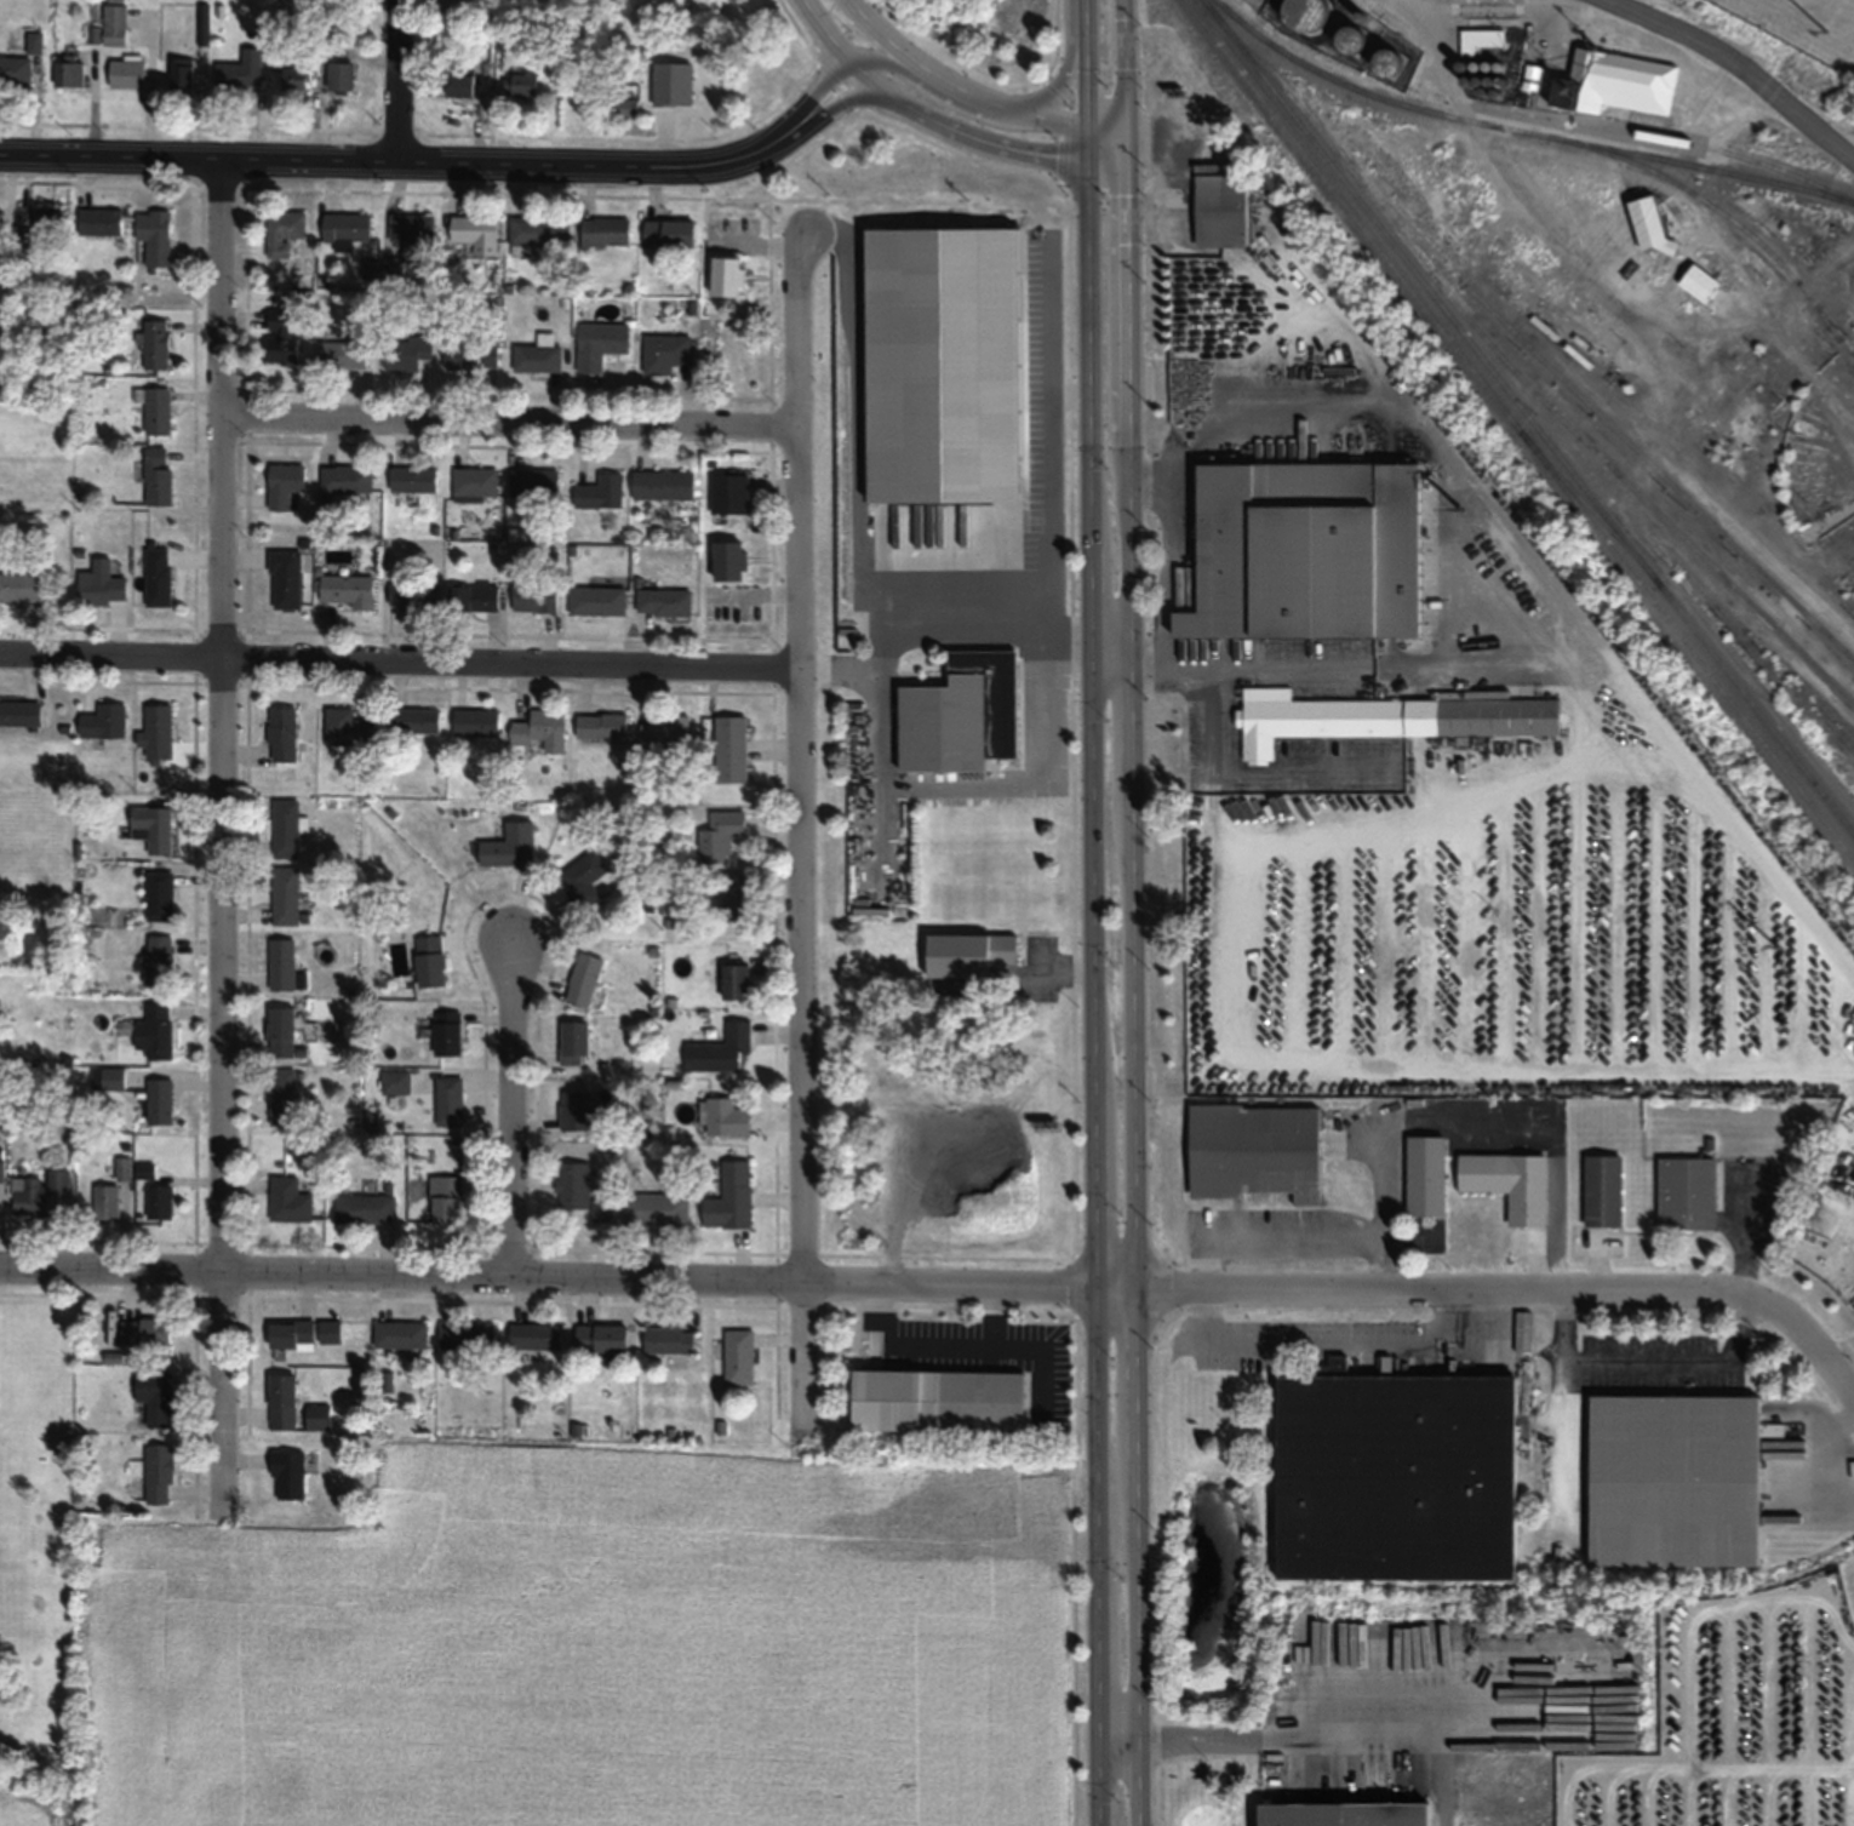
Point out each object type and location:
road: (1490, 8)
building: (1306, 15)
building: (115, 24)
building: (204, 24)
road: (1672, 30)
road: (882, 33)
building: (509, 40)
road: (1085, 59)
road: (883, 62)
road: (1071, 68)
building: (69, 70)
building: (15, 71)
building: (128, 71)
building: (241, 71)
building: (182, 73)
building: (297, 74)
building: (342, 75)
road: (397, 79)
building: (462, 82)
building: (521, 85)
building: (683, 85)
building: (1615, 85)
road: (848, 97)
road: (997, 103)
building: (628, 105)
road: (1795, 111)
road: (1105, 120)
road: (942, 125)
railway: (1523, 128)
railway: (1671, 138)
road: (199, 160)
road: (641, 162)
road: (832, 182)
building: (1221, 210)
railway: (1724, 214)
building: (0, 217)
building: (50, 219)
building: (101, 221)
building: (1652, 225)
building: (413, 228)
building: (347, 229)
building: (540, 230)
building: (285, 231)
building: (606, 231)
building: (477, 233)
building: (670, 233)
building: (154, 237)
road: (1584, 263)
building: (729, 276)
building: (1001, 277)
building: (1053, 277)
building: (1701, 285)
building: (281, 337)
building: (158, 344)
building: (601, 344)
building: (411, 349)
building: (343, 354)
building: (666, 354)
building: (539, 355)
building: (473, 356)
road: (1654, 365)
railway: (1513, 370)
road: (1676, 408)
building: (158, 411)
railway: (1600, 413)
railway: (1528, 416)
road: (1424, 422)
road: (508, 429)
railway: (1518, 429)
building: (347, 479)
building: (413, 479)
building: (476, 485)
building: (536, 485)
building: (664, 485)
building: (160, 486)
building: (286, 487)
building: (602, 493)
building: (731, 494)
railway: (1586, 503)
road: (1172, 548)
building: (1307, 550)
building: (732, 562)
building: (159, 577)
building: (287, 579)
building: (102, 583)
building: (22, 588)
building: (348, 590)
building: (413, 596)
building: (536, 596)
building: (474, 597)
building: (597, 600)
building: (664, 602)
road: (1109, 643)
road: (399, 660)
road: (1458, 670)
road: (1237, 671)
building: (21, 712)
building: (962, 715)
building: (1386, 719)
building: (105, 721)
building: (413, 721)
building: (477, 723)
building: (602, 726)
building: (348, 727)
building: (540, 727)
building: (156, 733)
building: (284, 733)
building: (665, 735)
building: (731, 749)
road: (1261, 769)
building: (154, 828)
building: (288, 828)
road: (800, 828)
building: (721, 836)
road: (219, 837)
road: (1738, 841)
building: (511, 846)
building: (584, 880)
building: (732, 883)
building: (160, 895)
building: (287, 895)
road: (1131, 912)
building: (971, 954)
building: (160, 960)
building: (431, 960)
building: (285, 966)
road: (1092, 972)
building: (585, 979)
building: (738, 981)
building: (1448, 1024)
building: (156, 1031)
building: (282, 1032)
building: (448, 1032)
building: (576, 1043)
building: (721, 1049)
road: (1384, 1058)
road: (1623, 1069)
building: (108, 1078)
building: (397, 1082)
building: (284, 1098)
building: (450, 1100)
building: (160, 1101)
road: (509, 1109)
building: (576, 1111)
building: (726, 1117)
building: (1255, 1150)
building: (2, 1164)
building: (124, 1168)
building: (1426, 1178)
building: (1510, 1184)
building: (1604, 1191)
building: (38, 1192)
building: (582, 1192)
building: (1688, 1194)
building: (732, 1197)
building: (444, 1200)
building: (107, 1201)
building: (160, 1201)
building: (290, 1201)
road: (1381, 1201)
building: (365, 1209)
building: (657, 1210)
road: (1270, 1240)
road: (547, 1273)
road: (1495, 1286)
road: (503, 1301)
road: (194, 1307)
building: (147, 1332)
building: (331, 1332)
building: (292, 1334)
building: (401, 1334)
building: (469, 1335)
building: (537, 1338)
building: (602, 1339)
building: (670, 1340)
road: (1318, 1344)
building: (740, 1357)
road: (1643, 1360)
building: (1389, 1367)
building: (156, 1397)
building: (284, 1401)
building: (982, 1403)
building: (320, 1416)
road: (1077, 1444)
road: (1841, 1453)
building: (161, 1473)
building: (291, 1473)
building: (1394, 1482)
building: (1675, 1484)
railway: (1568, 1592)
crop: (595, 1647)
road: (1328, 1738)
building: (1340, 1816)

